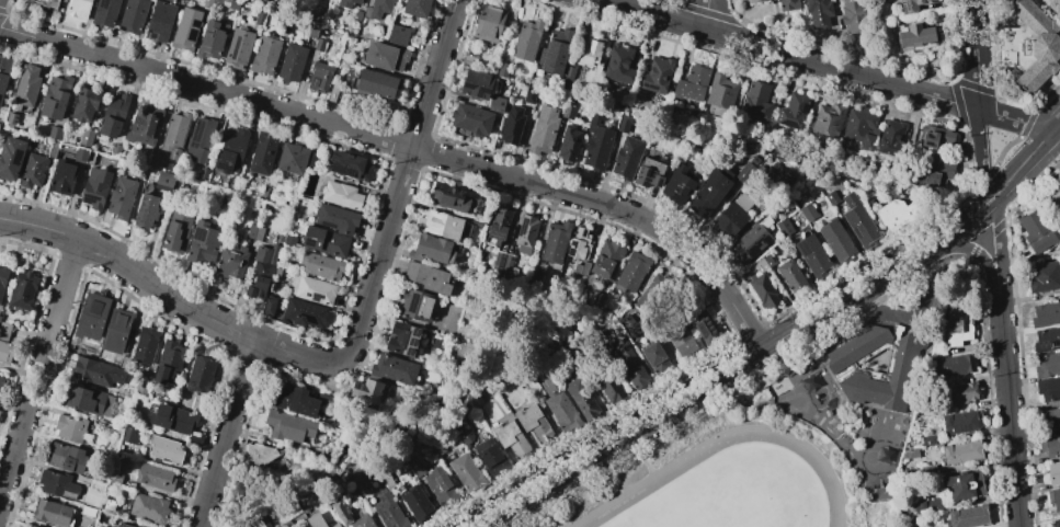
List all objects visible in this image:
building: (62, 0)
building: (754, 0)
building: (261, 1)
building: (346, 2)
building: (46, 3)
building: (226, 3)
building: (787, 4)
building: (913, 4)
rooftop solar panel: (904, 5)
building: (415, 8)
building: (78, 9)
building: (377, 9)
building: (819, 9)
building: (104, 12)
road: (704, 13)
building: (854, 14)
building: (132, 15)
building: (259, 16)
building: (160, 22)
building: (488, 23)
building: (185, 28)
building: (309, 28)
building: (398, 34)
building: (915, 34)
building: (212, 39)
building: (526, 39)
building: (318, 44)
road: (756, 44)
building: (1034, 45)
building: (238, 48)
park: (1026, 49)
building: (554, 51)
building: (264, 54)
road: (977, 55)
building: (384, 56)
building: (467, 56)
building: (585, 61)
building: (290, 62)
building: (618, 64)
building: (502, 69)
building: (4, 72)
building: (656, 75)
building: (319, 77)
building: (375, 83)
building: (691, 83)
building: (476, 84)
building: (26, 85)
building: (720, 91)
building: (332, 93)
building: (528, 95)
building: (54, 98)
building: (755, 100)
road: (943, 100)
building: (84, 104)
building: (495, 104)
building: (569, 108)
rooftop solar panel: (805, 108)
building: (793, 111)
building: (113, 115)
building: (10, 118)
building: (471, 119)
building: (827, 119)
road: (1015, 121)
building: (625, 123)
building: (511, 125)
building: (143, 126)
rooftop solar panel: (790, 126)
road: (1057, 127)
building: (863, 128)
building: (543, 130)
building: (54, 133)
building: (173, 134)
building: (935, 136)
building: (198, 139)
building: (891, 139)
building: (568, 142)
road: (408, 146)
building: (84, 147)
building: (597, 148)
building: (53, 149)
building: (229, 150)
building: (262, 153)
road: (980, 156)
rooftop solar panel: (19, 158)
building: (292, 158)
building: (626, 158)
building: (10, 159)
building: (152, 160)
road: (1023, 164)
building: (350, 165)
building: (931, 169)
building: (32, 171)
rooftop solar panel: (227, 171)
building: (743, 172)
rooftop solar panel: (646, 173)
building: (648, 173)
building: (776, 175)
building: (62, 177)
building: (164, 180)
rooftop solar panel: (647, 181)
building: (180, 184)
rooftop solar panel: (660, 184)
building: (677, 185)
rooftop solar panel: (648, 186)
building: (94, 187)
building: (708, 193)
building: (341, 195)
building: (121, 197)
building: (448, 197)
building: (830, 198)
building: (1056, 199)
building: (742, 202)
rooftop solar panel: (145, 209)
building: (146, 210)
building: (807, 213)
building: (893, 214)
building: (335, 218)
building: (729, 219)
building: (858, 221)
road: (964, 222)
building: (440, 224)
building: (499, 224)
road: (388, 226)
building: (783, 227)
rooftop solar panel: (856, 229)
building: (176, 231)
building: (1035, 231)
building: (525, 233)
rooftop solar panel: (766, 237)
road: (999, 239)
building: (324, 241)
building: (555, 241)
building: (835, 241)
building: (202, 242)
building: (749, 242)
building: (574, 248)
rooftop solar panel: (753, 248)
building: (431, 250)
road: (971, 252)
building: (812, 255)
building: (605, 259)
building: (230, 261)
building: (762, 263)
building: (320, 265)
building: (501, 265)
road: (130, 268)
building: (261, 270)
building: (630, 272)
building: (791, 276)
building: (2, 277)
building: (428, 277)
building: (1044, 277)
building: (312, 289)
building: (22, 290)
building: (763, 290)
rooftop solar panel: (307, 295)
building: (653, 295)
rooftop solar panel: (316, 298)
building: (413, 305)
building: (269, 307)
building: (305, 313)
building: (1046, 314)
building: (91, 317)
building: (957, 325)
building: (705, 329)
building: (3, 331)
building: (116, 331)
rooftop solar panel: (417, 335)
building: (402, 339)
building: (1046, 340)
rooftop solar panel: (1044, 343)
rooftop solar panel: (1056, 343)
rooftop solar panel: (412, 344)
building: (683, 344)
building: (144, 345)
building: (5, 352)
rooftop solar panel: (410, 352)
building: (656, 358)
building: (169, 363)
building: (957, 364)
building: (1047, 364)
road: (38, 365)
building: (630, 366)
building: (901, 368)
building: (394, 369)
building: (95, 371)
building: (200, 374)
building: (0, 379)
road: (707, 383)
building: (611, 386)
building: (1048, 389)
building: (366, 392)
building: (959, 393)
building: (581, 399)
building: (86, 400)
building: (297, 400)
road: (1007, 403)
building: (0, 405)
building: (559, 405)
building: (172, 419)
building: (1049, 419)
building: (960, 422)
building: (533, 424)
building: (287, 425)
rooftop solar panel: (962, 425)
building: (71, 428)
road: (225, 432)
building: (128, 436)
building: (510, 438)
building: (926, 440)
building: (1050, 446)
building: (164, 449)
building: (961, 451)
road: (638, 452)
building: (909, 454)
building: (259, 455)
building: (490, 457)
building: (67, 458)
building: (415, 466)
building: (466, 472)
building: (1053, 472)
building: (153, 477)
track: (657, 478)
park: (722, 479)
building: (386, 480)
building: (57, 484)
building: (964, 485)
building: (440, 486)
park: (733, 493)
building: (1053, 499)
building: (415, 502)
building: (934, 503)
building: (149, 508)
building: (388, 512)
building: (53, 513)
building: (340, 513)
building: (967, 516)
building: (315, 520)
building: (261, 522)
building: (362, 522)
building: (1057, 523)
building: (125, 525)
building: (334, 525)
building: (27, 526)
building: (31, 526)

